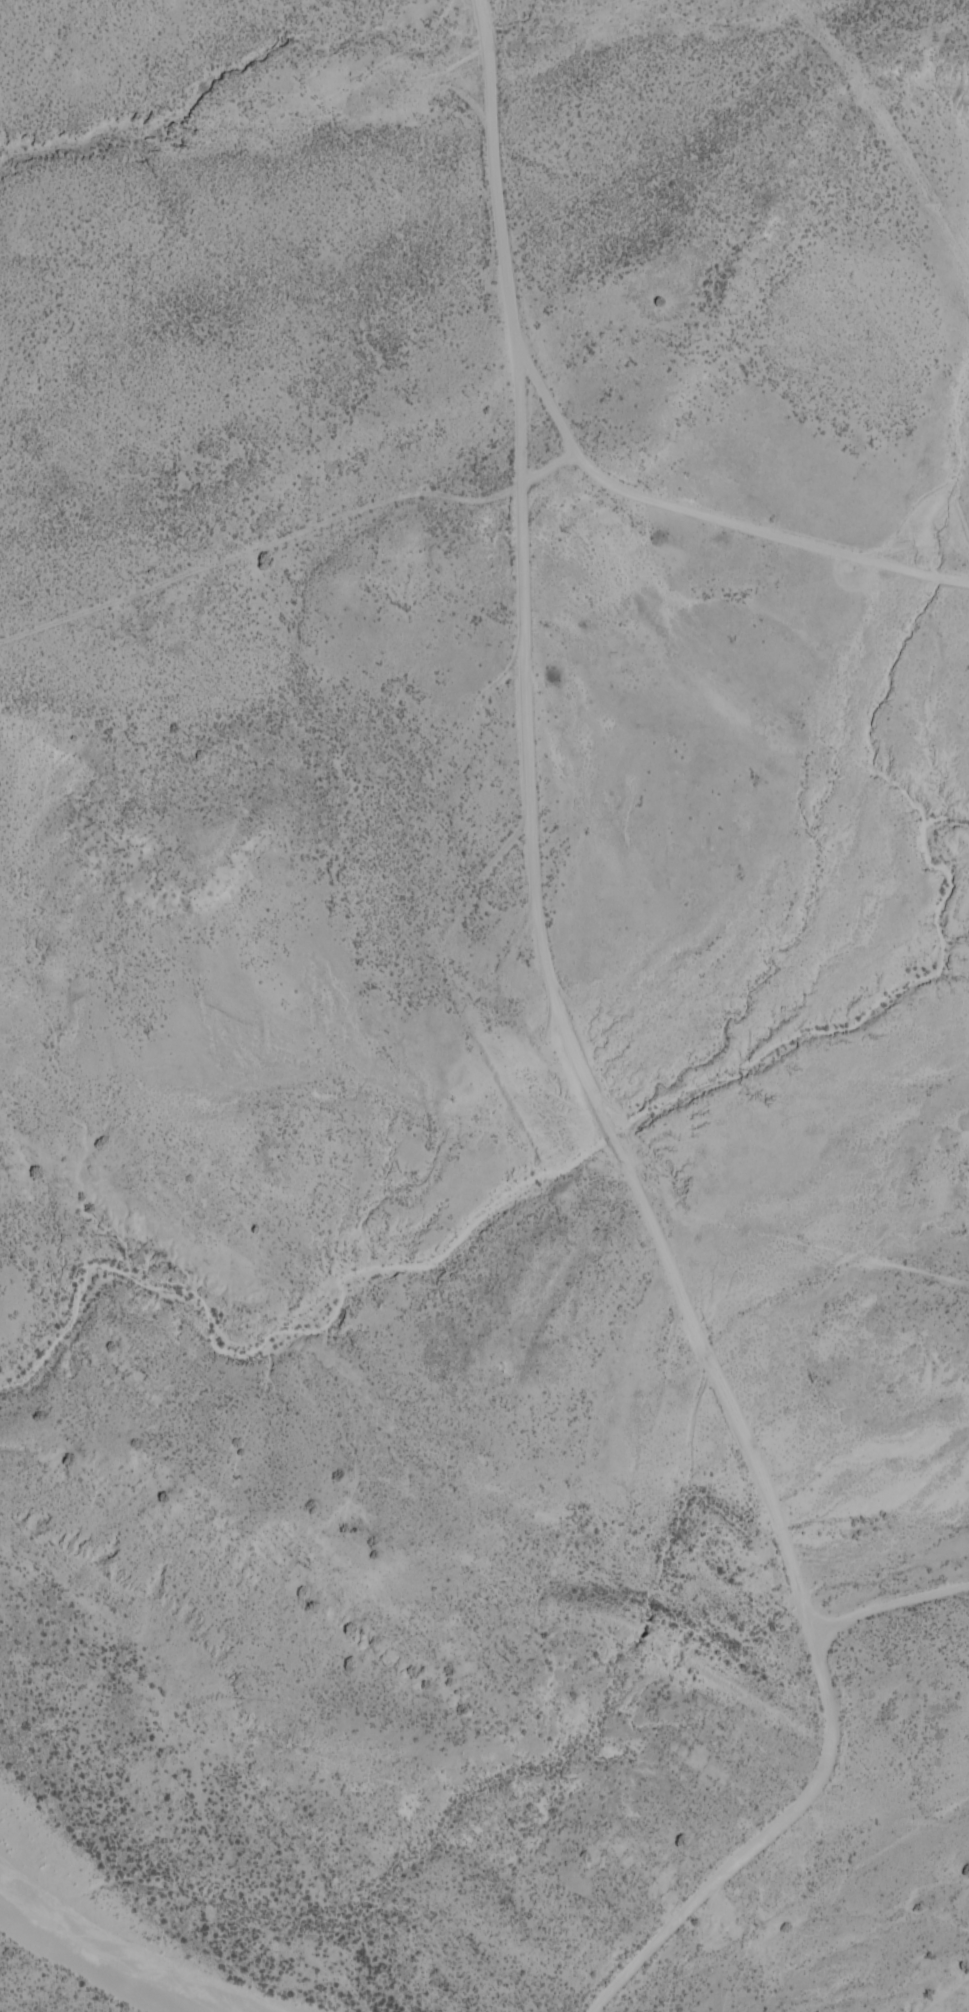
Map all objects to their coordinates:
road: (573, 410)
river: (103, 1952)

